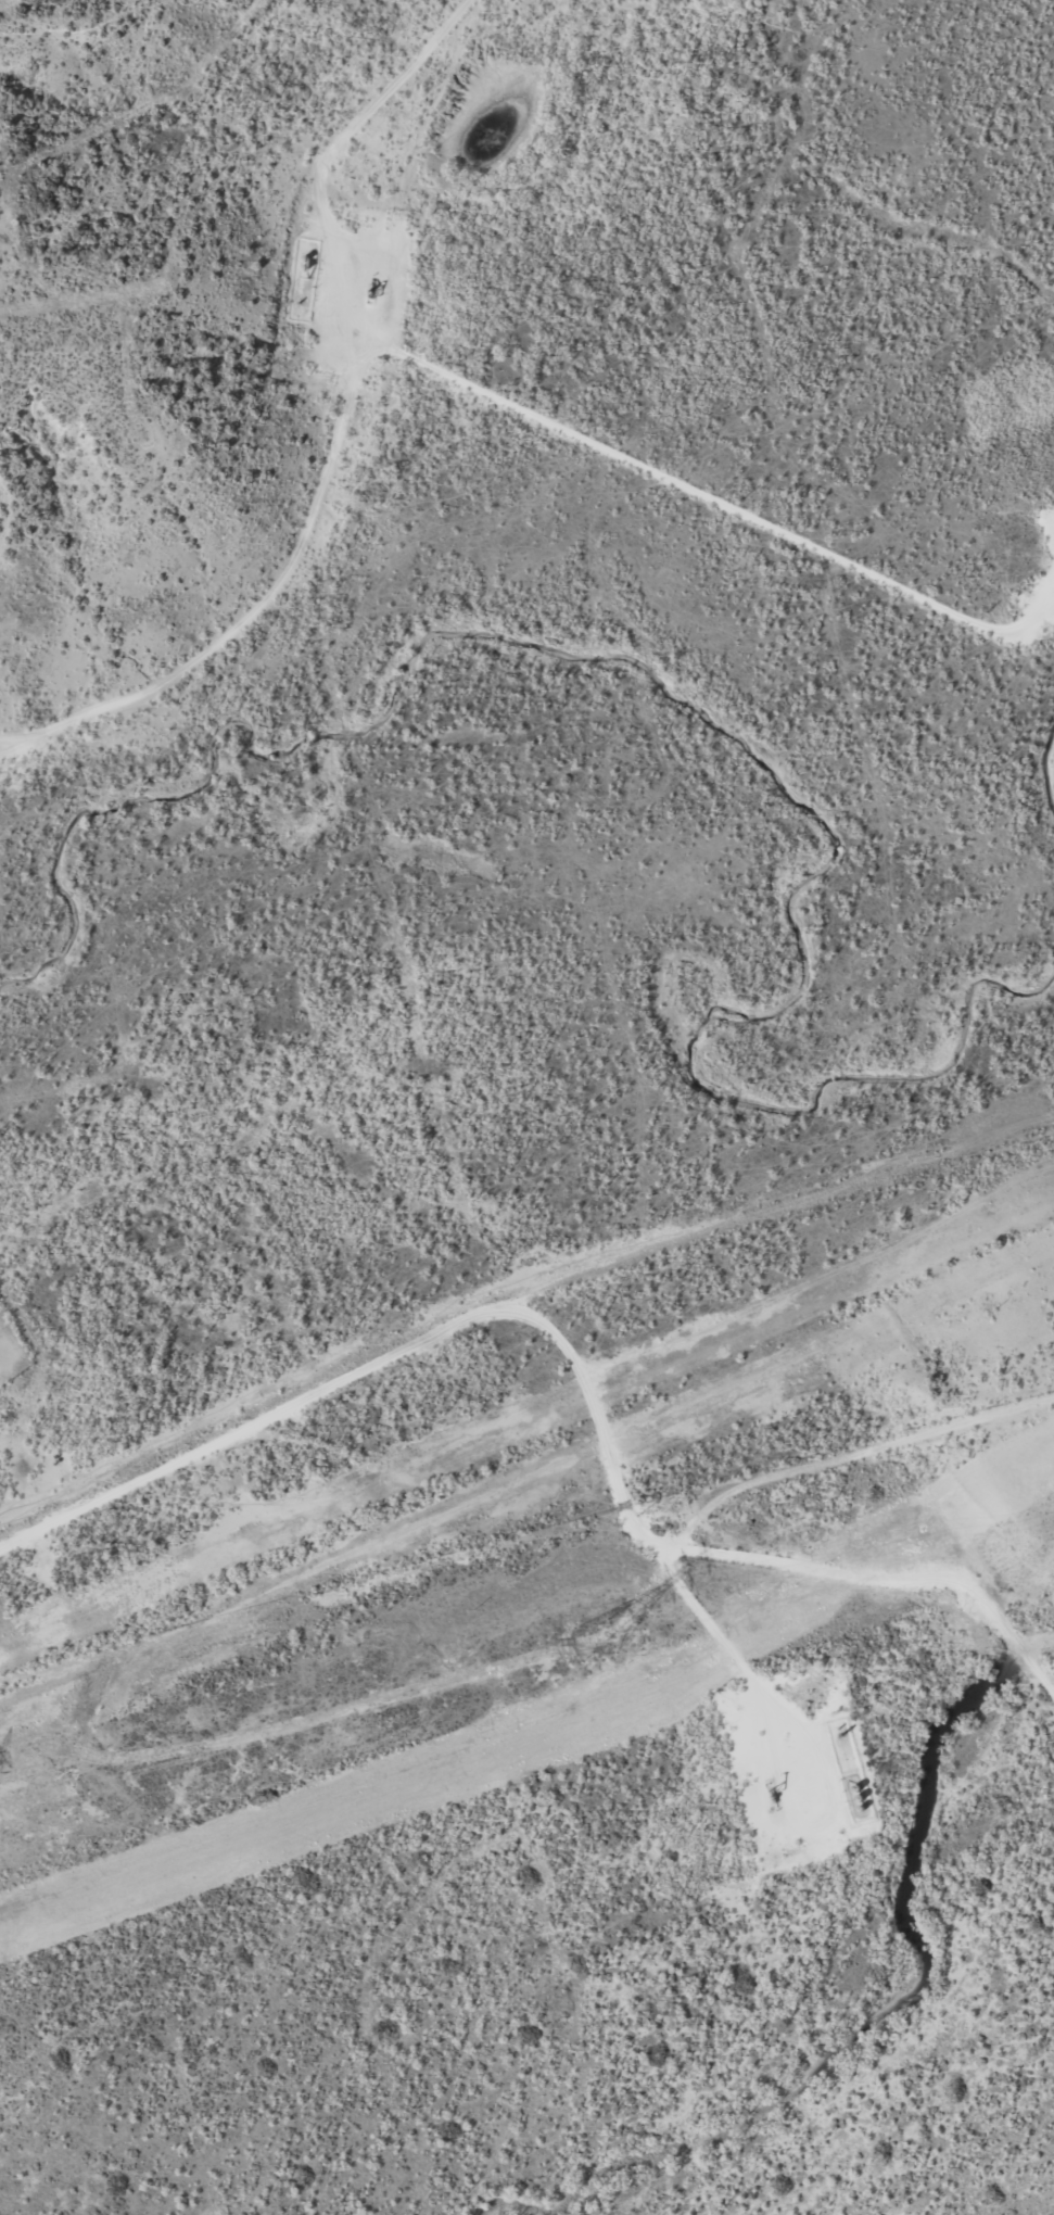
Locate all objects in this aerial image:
power tower: (592, 1640)

